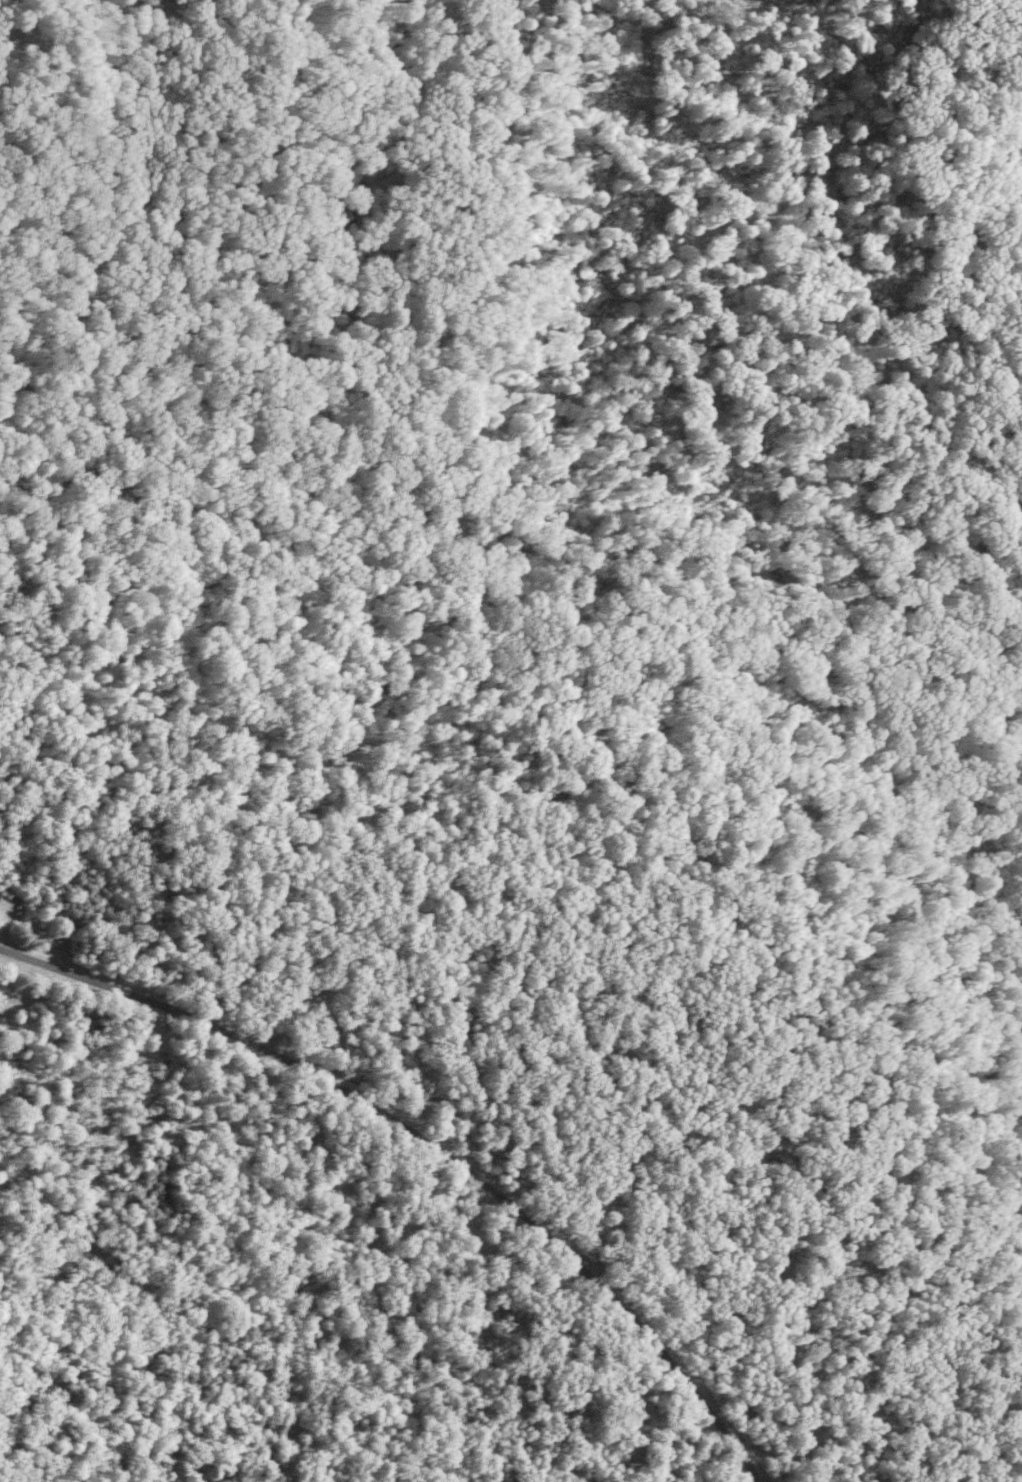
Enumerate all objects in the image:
road: (431, 1142)

